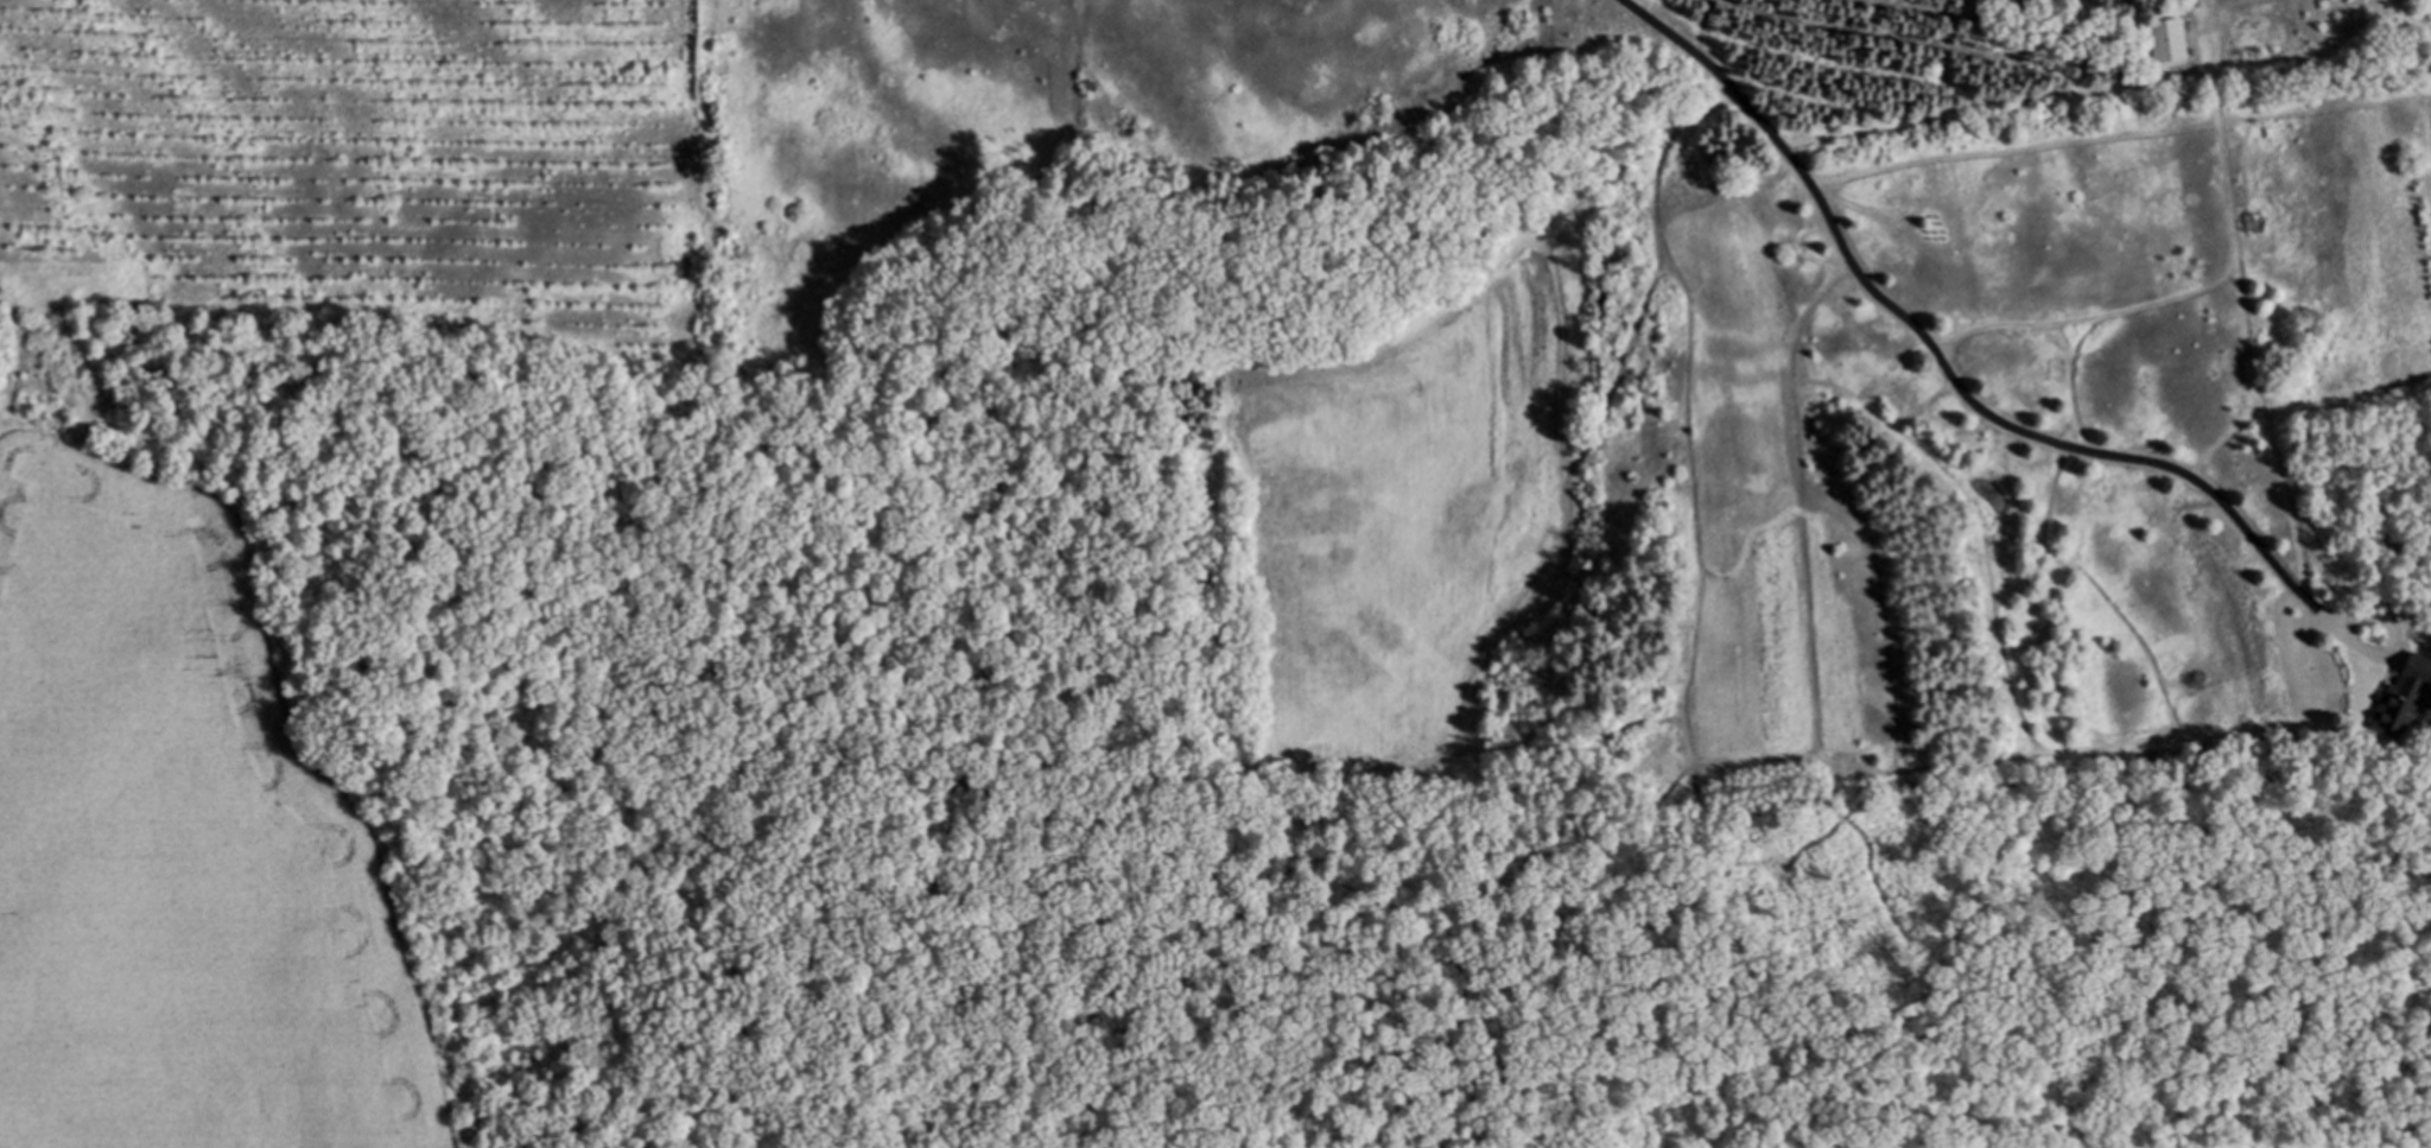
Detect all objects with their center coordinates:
building: (2171, 45)
building: (2405, 700)

